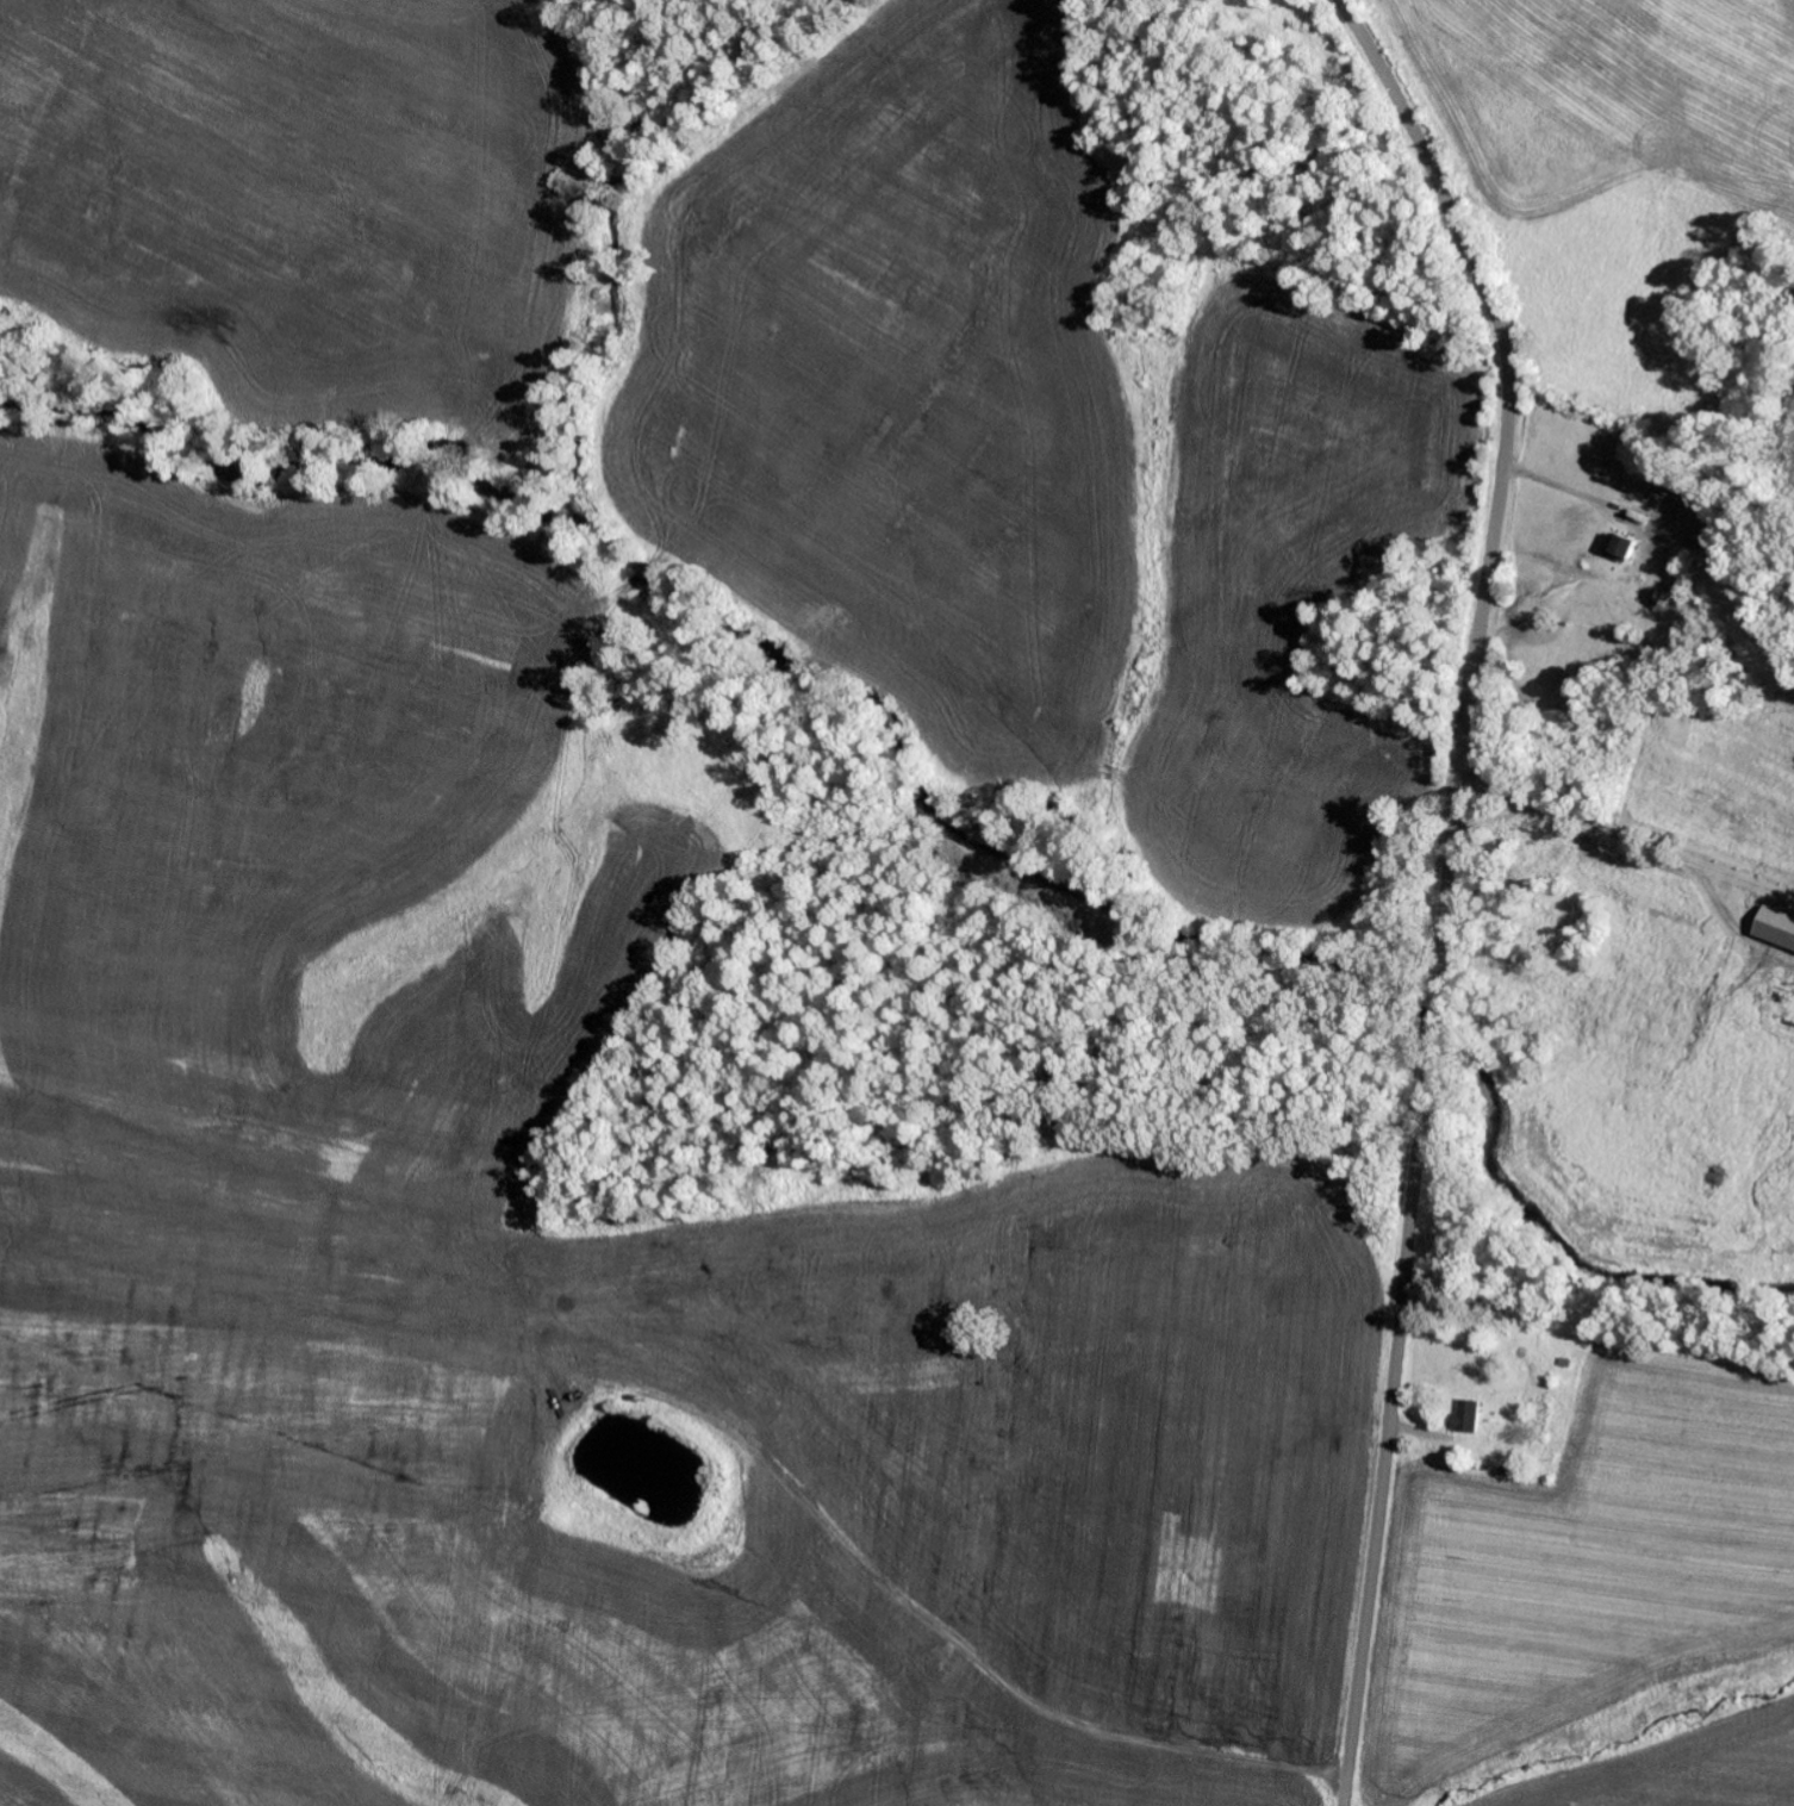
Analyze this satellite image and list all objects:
building: (1618, 548)
road: (1624, 793)
road: (1445, 885)
building: (1773, 928)
building: (1464, 1416)

